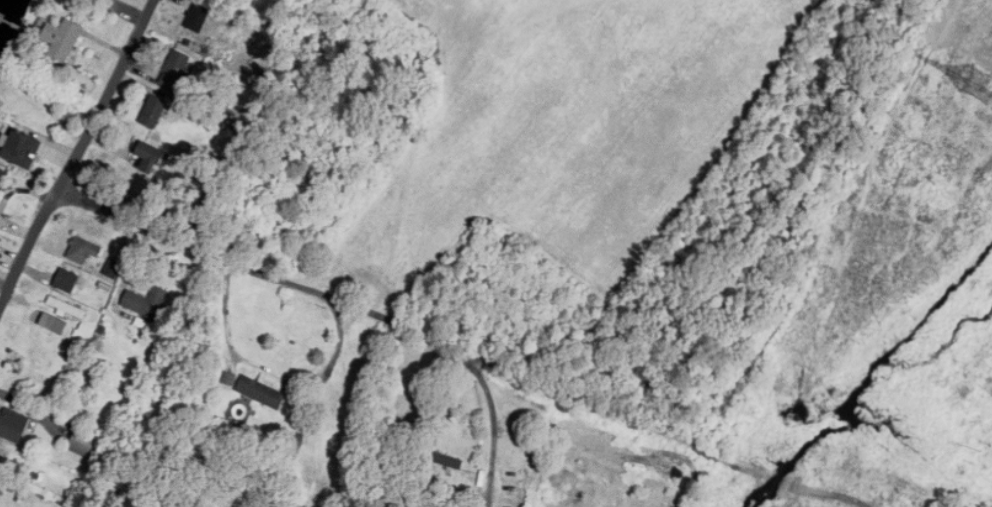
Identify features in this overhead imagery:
building: (197, 16)
building: (62, 37)
building: (174, 68)
power tower: (983, 87)
building: (153, 110)
building: (20, 147)
road: (77, 155)
building: (149, 156)
building: (1, 171)
road: (20, 189)
road: (16, 230)
building: (81, 248)
building: (112, 267)
building: (65, 278)
building: (146, 300)
building: (66, 306)
building: (52, 322)
building: (84, 331)
road: (459, 349)
road: (275, 377)
building: (261, 391)
road: (492, 407)
building: (12, 423)
building: (85, 443)
building: (2, 452)

